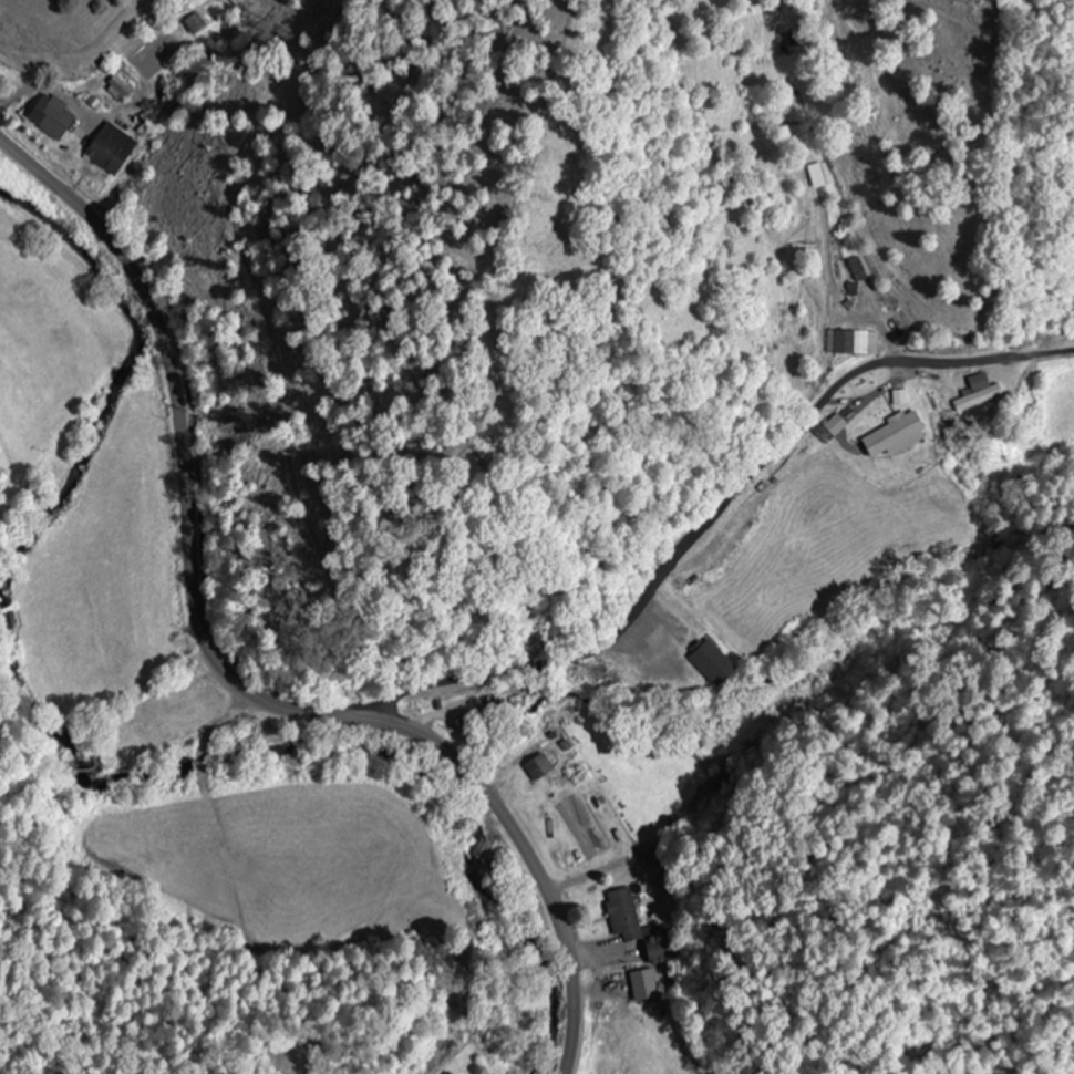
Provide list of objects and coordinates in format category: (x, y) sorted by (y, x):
building: (2, 64)
building: (52, 117)
building: (112, 148)
building: (817, 176)
building: (859, 270)
building: (854, 343)
road: (896, 369)
building: (979, 399)
building: (897, 435)
road: (590, 655)
building: (713, 663)
road: (220, 672)
building: (541, 766)
building: (639, 928)

